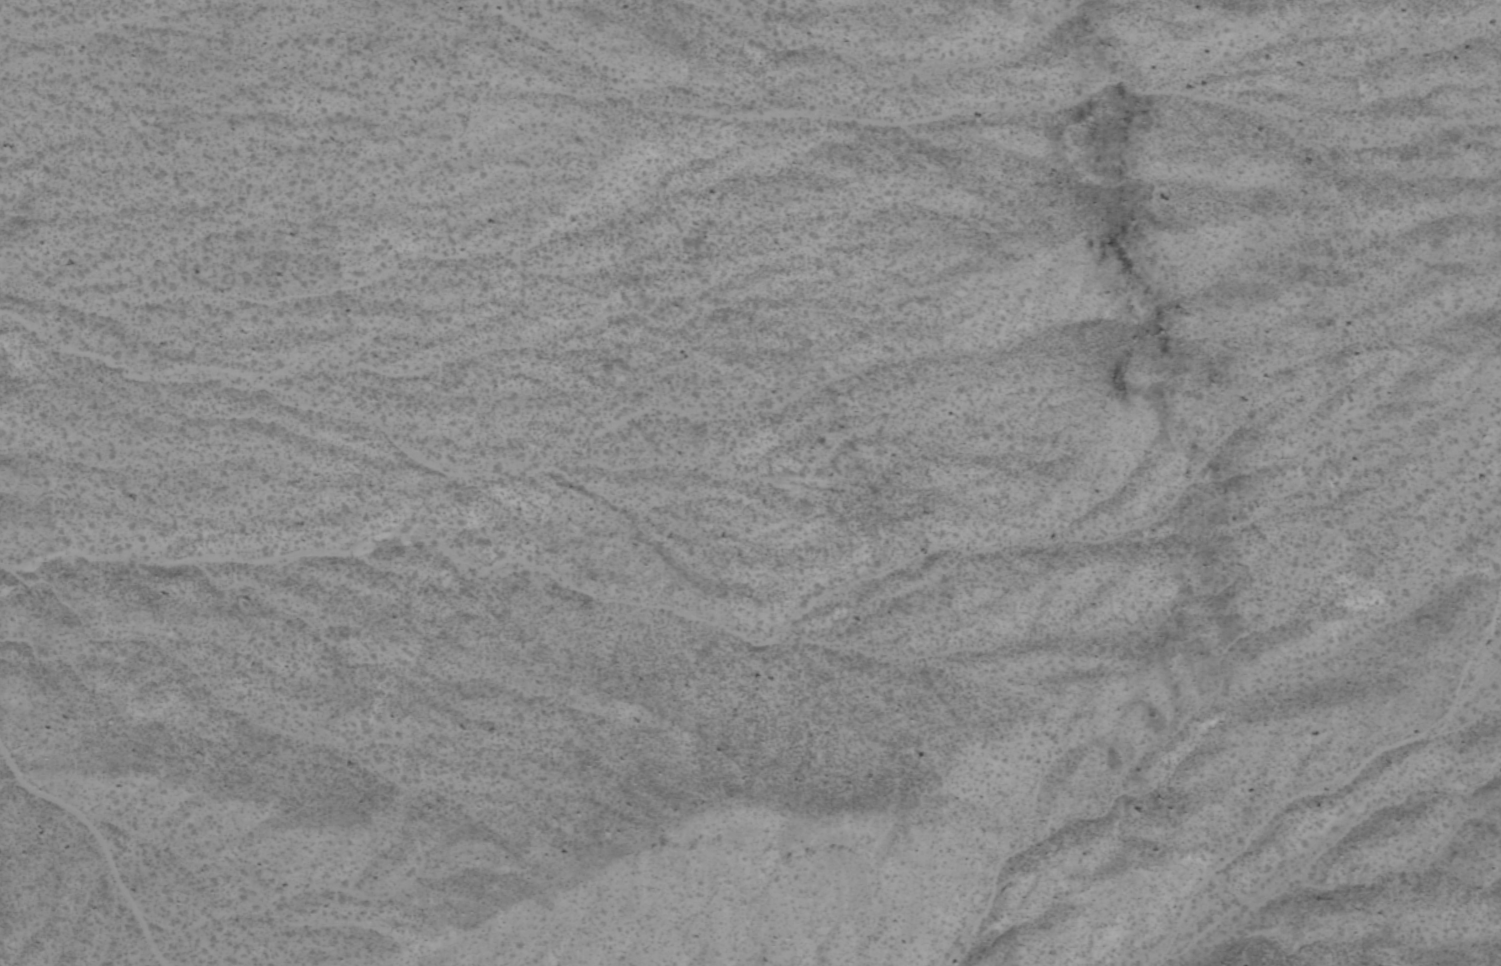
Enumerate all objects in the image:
road: (85, 844)

